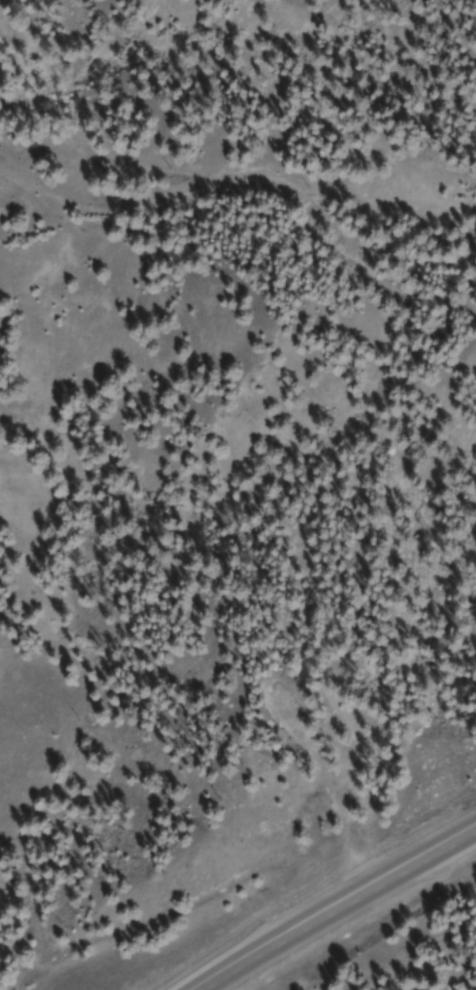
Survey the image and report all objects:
road: (341, 908)

